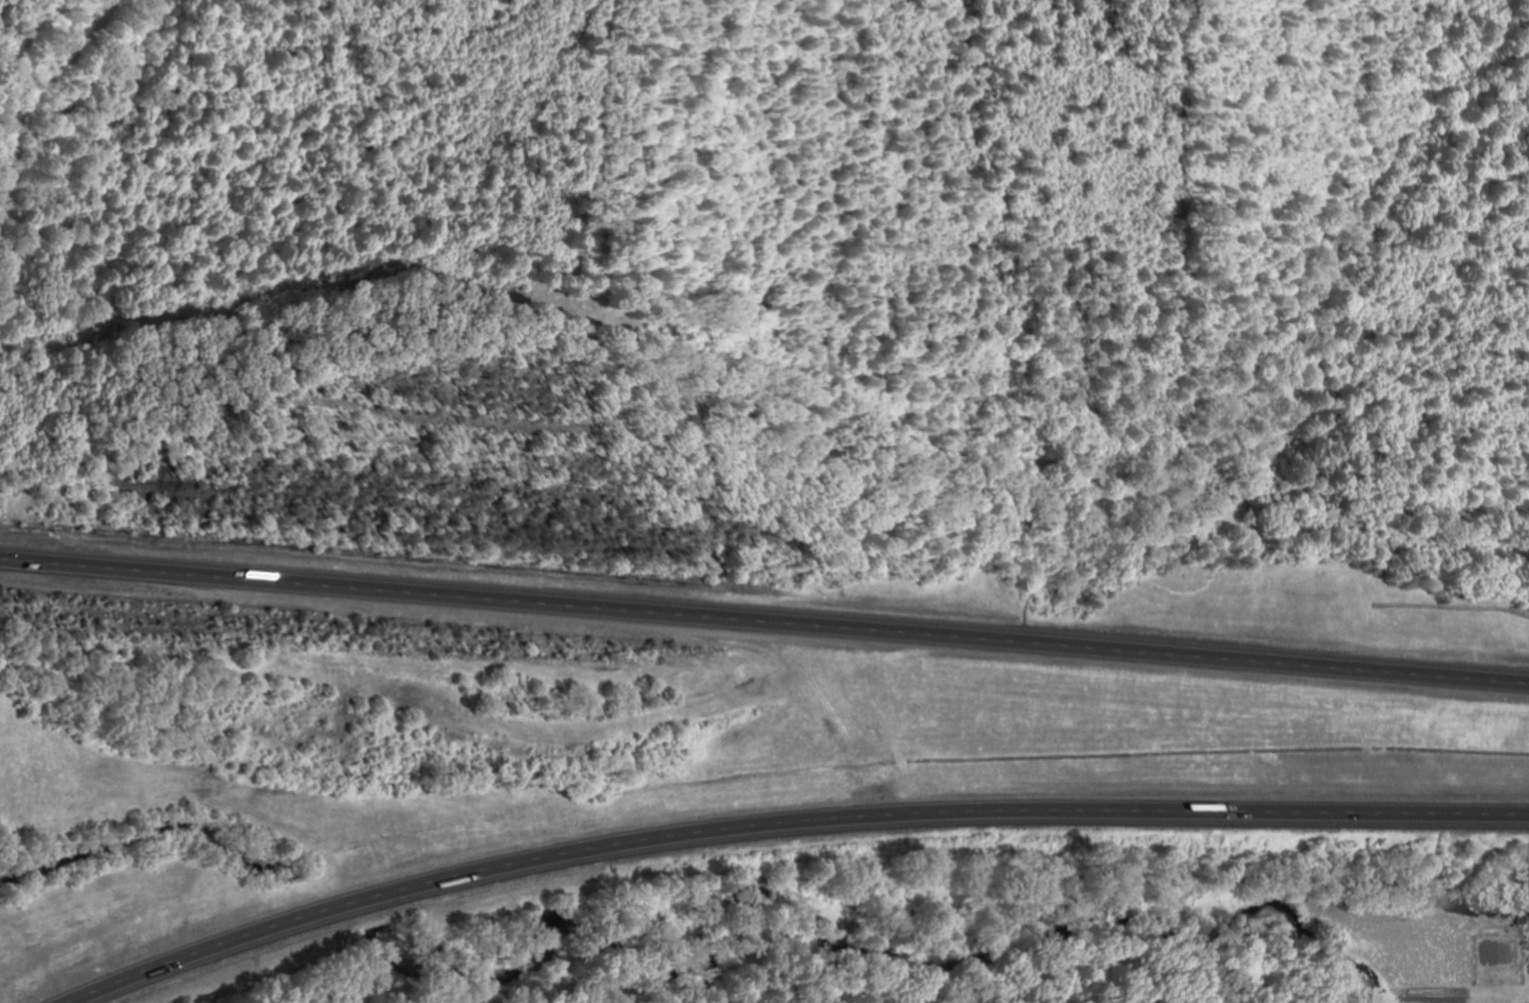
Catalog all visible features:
road: (764, 619)
road: (797, 828)

